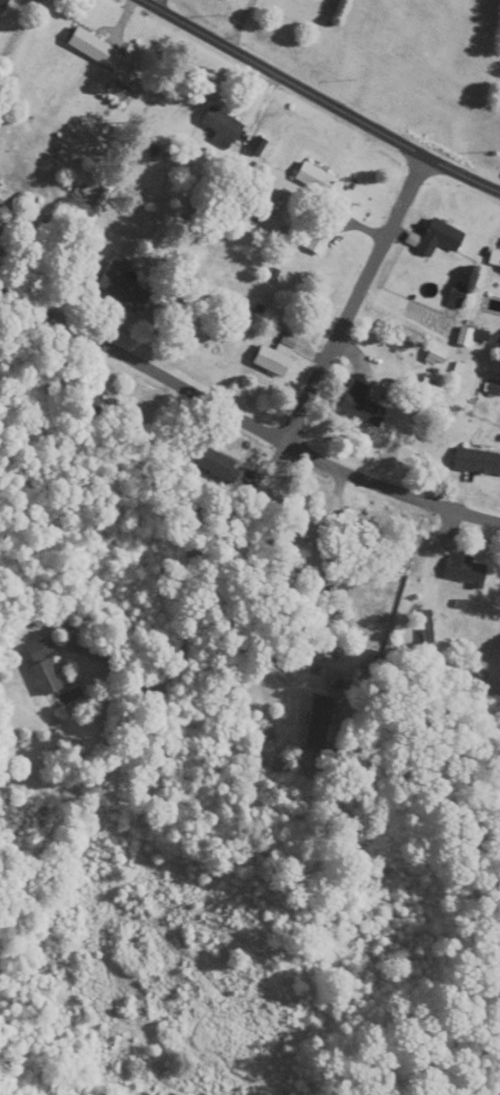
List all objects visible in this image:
building: (3, 3)
building: (91, 46)
road: (321, 97)
building: (222, 125)
building: (314, 179)
building: (0, 211)
building: (437, 238)
building: (317, 243)
building: (494, 259)
building: (123, 284)
road: (355, 299)
building: (278, 355)
building: (363, 405)
road: (243, 419)
building: (478, 461)
building: (218, 463)
road: (258, 503)
road: (275, 549)
building: (466, 570)
building: (41, 649)
building: (46, 677)
building: (319, 721)

